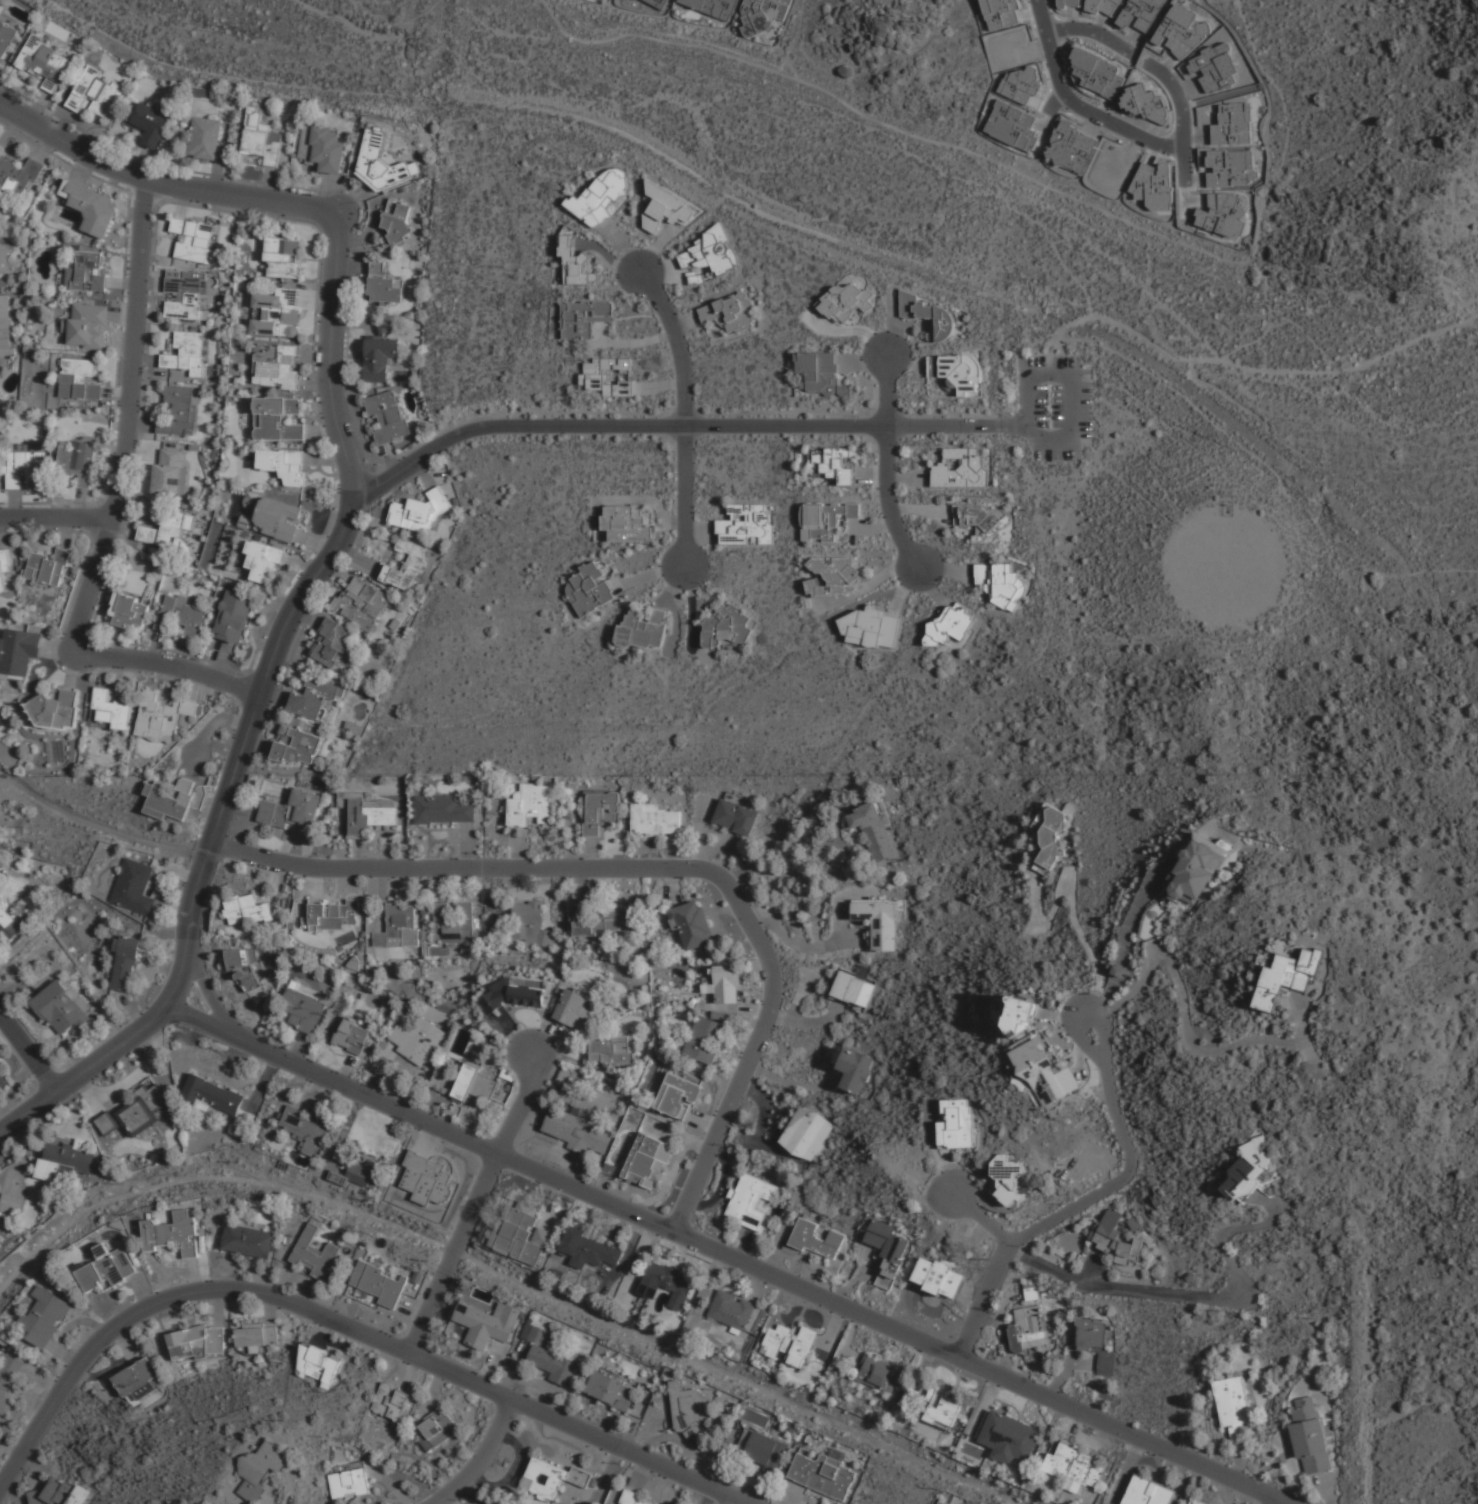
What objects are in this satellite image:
building: (661, 2)
building: (715, 6)
building: (764, 14)
road: (1090, 31)
building: (6, 35)
road: (795, 36)
building: (46, 61)
building: (1097, 74)
building: (94, 91)
road: (1055, 97)
road: (1076, 105)
road: (1181, 116)
building: (150, 122)
road: (897, 126)
building: (1012, 127)
building: (205, 137)
building: (260, 139)
building: (323, 148)
building: (380, 161)
building: (20, 175)
road: (162, 179)
road: (1267, 188)
building: (601, 194)
building: (90, 205)
building: (665, 207)
road: (1040, 222)
building: (398, 223)
building: (193, 238)
building: (711, 250)
building: (4, 252)
building: (282, 258)
park: (961, 261)
building: (576, 263)
building: (88, 272)
building: (696, 277)
building: (385, 286)
building: (184, 294)
building: (846, 300)
building: (729, 311)
building: (277, 314)
building: (928, 314)
building: (585, 316)
building: (6, 321)
road: (1115, 321)
building: (88, 326)
building: (184, 353)
building: (378, 359)
building: (275, 366)
road: (1350, 366)
building: (955, 371)
building: (820, 372)
building: (593, 376)
building: (612, 376)
building: (79, 379)
parking lot: (1056, 404)
building: (177, 409)
building: (388, 414)
road: (686, 415)
road: (127, 417)
building: (278, 419)
road: (610, 424)
road: (958, 424)
road: (1073, 435)
building: (79, 460)
road: (888, 463)
building: (835, 464)
building: (284, 465)
building: (24, 466)
building: (959, 469)
building: (170, 471)
road: (1268, 479)
building: (419, 511)
road: (55, 516)
building: (277, 519)
building: (822, 521)
building: (982, 522)
building: (624, 524)
building: (744, 526)
building: (163, 531)
building: (261, 563)
building: (403, 566)
building: (47, 567)
building: (825, 575)
building: (1000, 585)
building: (588, 589)
building: (360, 603)
building: (129, 610)
building: (182, 616)
building: (234, 616)
building: (725, 627)
building: (870, 627)
building: (641, 629)
building: (948, 629)
building: (330, 642)
building: (18, 650)
road: (168, 663)
building: (316, 698)
road: (255, 706)
building: (110, 709)
building: (55, 710)
building: (164, 716)
building: (298, 742)
building: (169, 800)
building: (530, 804)
building: (291, 810)
building: (442, 810)
building: (599, 811)
building: (371, 814)
building: (735, 817)
building: (654, 820)
road: (98, 823)
building: (872, 831)
building: (1048, 837)
road: (659, 866)
building: (1196, 869)
road: (799, 877)
building: (133, 886)
road: (1075, 886)
building: (1165, 898)
building: (245, 910)
building: (334, 913)
building: (615, 919)
building: (453, 920)
building: (582, 921)
building: (878, 921)
building: (530, 924)
building: (8, 925)
building: (399, 925)
building: (692, 925)
building: (124, 963)
building: (244, 965)
building: (1287, 975)
building: (725, 983)
building: (852, 989)
road: (209, 993)
building: (514, 995)
building: (59, 1008)
building: (575, 1008)
building: (303, 1010)
building: (1018, 1014)
road: (1186, 1015)
building: (353, 1035)
building: (706, 1039)
building: (417, 1040)
building: (611, 1050)
road: (28, 1052)
building: (855, 1069)
building: (1044, 1072)
building: (3, 1080)
building: (475, 1083)
building: (212, 1094)
building: (678, 1094)
building: (142, 1110)
building: (106, 1122)
building: (242, 1123)
building: (955, 1124)
building: (305, 1129)
building: (577, 1129)
building: (807, 1134)
building: (65, 1159)
building: (650, 1161)
building: (1248, 1169)
building: (360, 1174)
building: (1007, 1178)
road: (1088, 1198)
building: (748, 1201)
building: (11, 1203)
road: (476, 1206)
road: (981, 1215)
building: (174, 1233)
building: (527, 1237)
building: (813, 1238)
building: (1113, 1238)
building: (249, 1241)
building: (588, 1248)
road: (723, 1250)
building: (886, 1250)
building: (314, 1254)
building: (107, 1266)
building: (937, 1277)
building: (378, 1282)
building: (667, 1282)
road: (1183, 1293)
building: (731, 1310)
building: (45, 1316)
building: (488, 1323)
road: (346, 1324)
building: (1027, 1326)
building: (256, 1336)
building: (197, 1341)
building: (1094, 1343)
building: (789, 1344)
building: (319, 1362)
building: (554, 1365)
building: (879, 1373)
building: (136, 1378)
building: (611, 1389)
building: (391, 1400)
building: (943, 1405)
building: (1232, 1405)
building: (691, 1409)
building: (437, 1428)
building: (1311, 1433)
building: (1009, 1437)
building: (761, 1448)
road: (480, 1457)
building: (1074, 1467)
building: (261, 1469)
building: (824, 1474)
building: (554, 1476)
building: (349, 1480)
building: (1148, 1492)
building: (62, 1494)
building: (636, 1499)
road: (734, 1500)
building: (1198, 1501)
road: (1276, 1501)
road: (1284, 1501)

